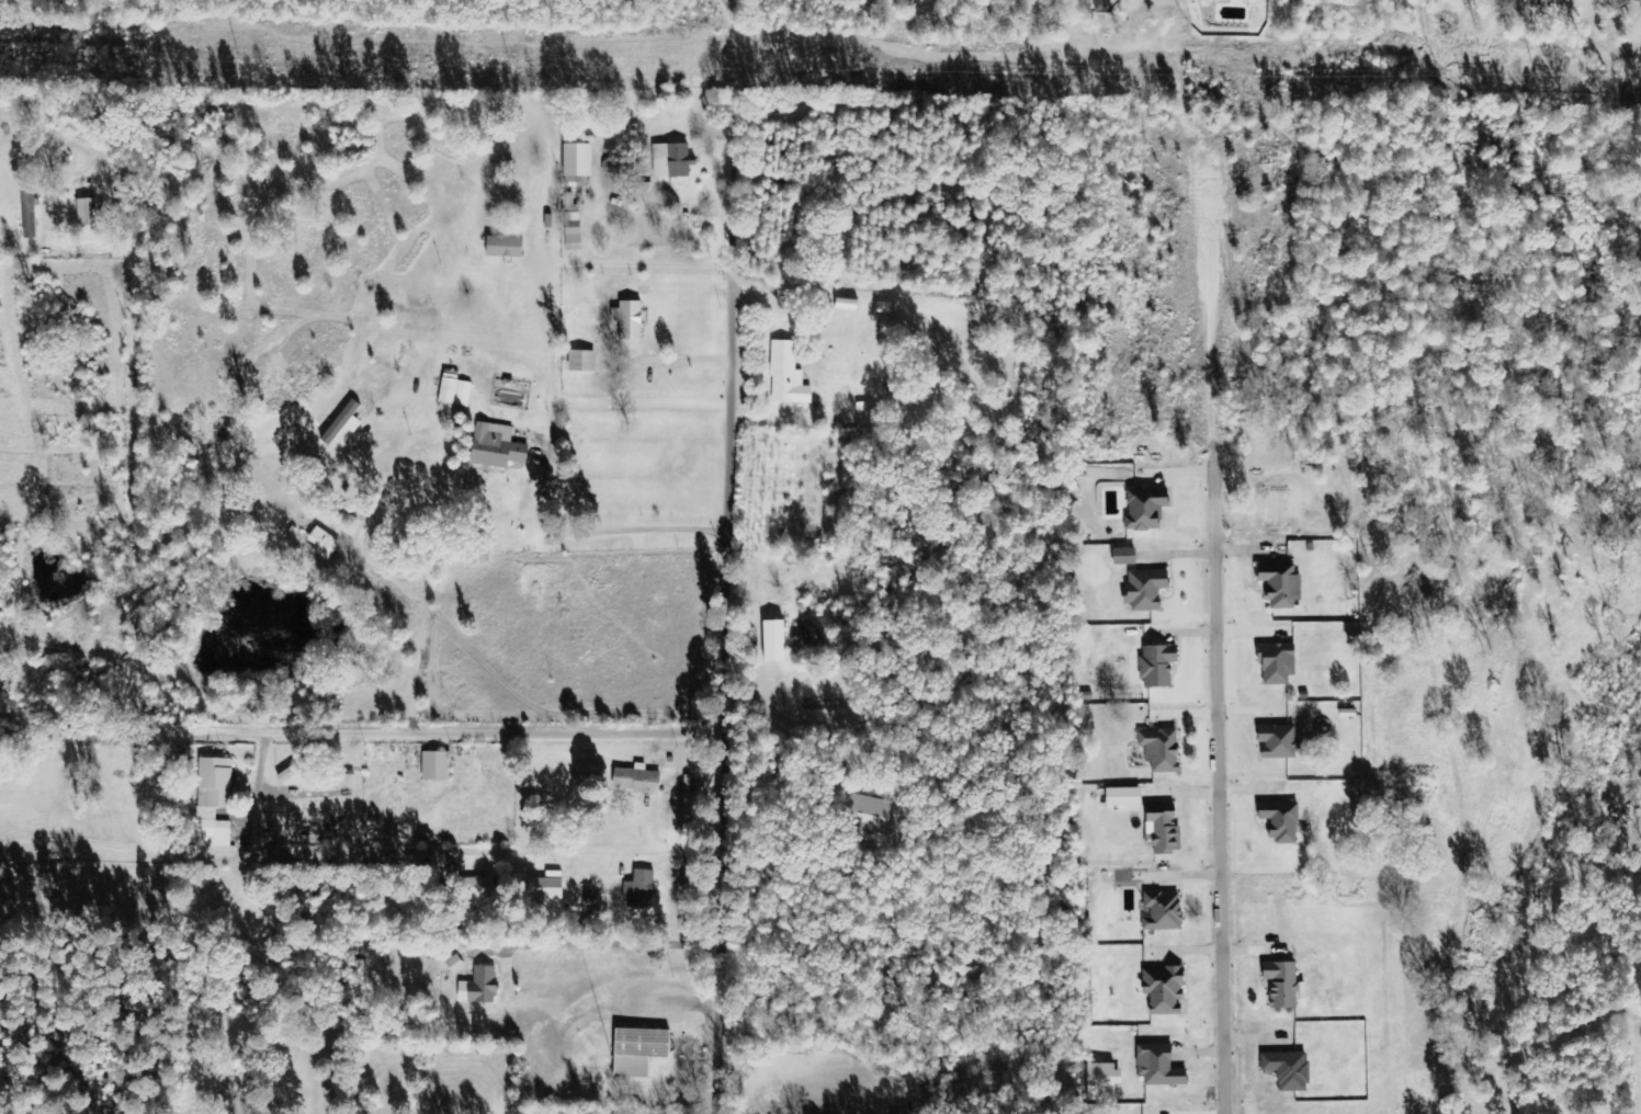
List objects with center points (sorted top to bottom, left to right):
building: (1534, 2)
building: (670, 160)
building: (577, 163)
building: (612, 166)
building: (87, 209)
building: (571, 224)
building: (848, 304)
building: (629, 319)
building: (582, 361)
building: (788, 375)
building: (454, 389)
building: (341, 422)
building: (497, 446)
building: (1146, 508)
building: (325, 543)
building: (1124, 556)
building: (1281, 583)
building: (1146, 589)
road: (734, 603)
building: (777, 640)
building: (1277, 663)
building: (1158, 664)
road: (533, 703)
road: (454, 732)
building: (1279, 741)
building: (1162, 750)
building: (437, 765)
building: (297, 769)
building: (637, 780)
building: (215, 802)
road: (1234, 808)
building: (870, 811)
building: (1281, 820)
road: (361, 828)
building: (1164, 828)
building: (259, 830)
road: (384, 859)
road: (282, 883)
building: (547, 886)
building: (483, 887)
building: (641, 889)
building: (1163, 911)
building: (1284, 985)
building: (479, 987)
building: (1165, 989)
building: (641, 1050)
building: (1159, 1066)
building: (1288, 1069)
building: (1100, 1081)

